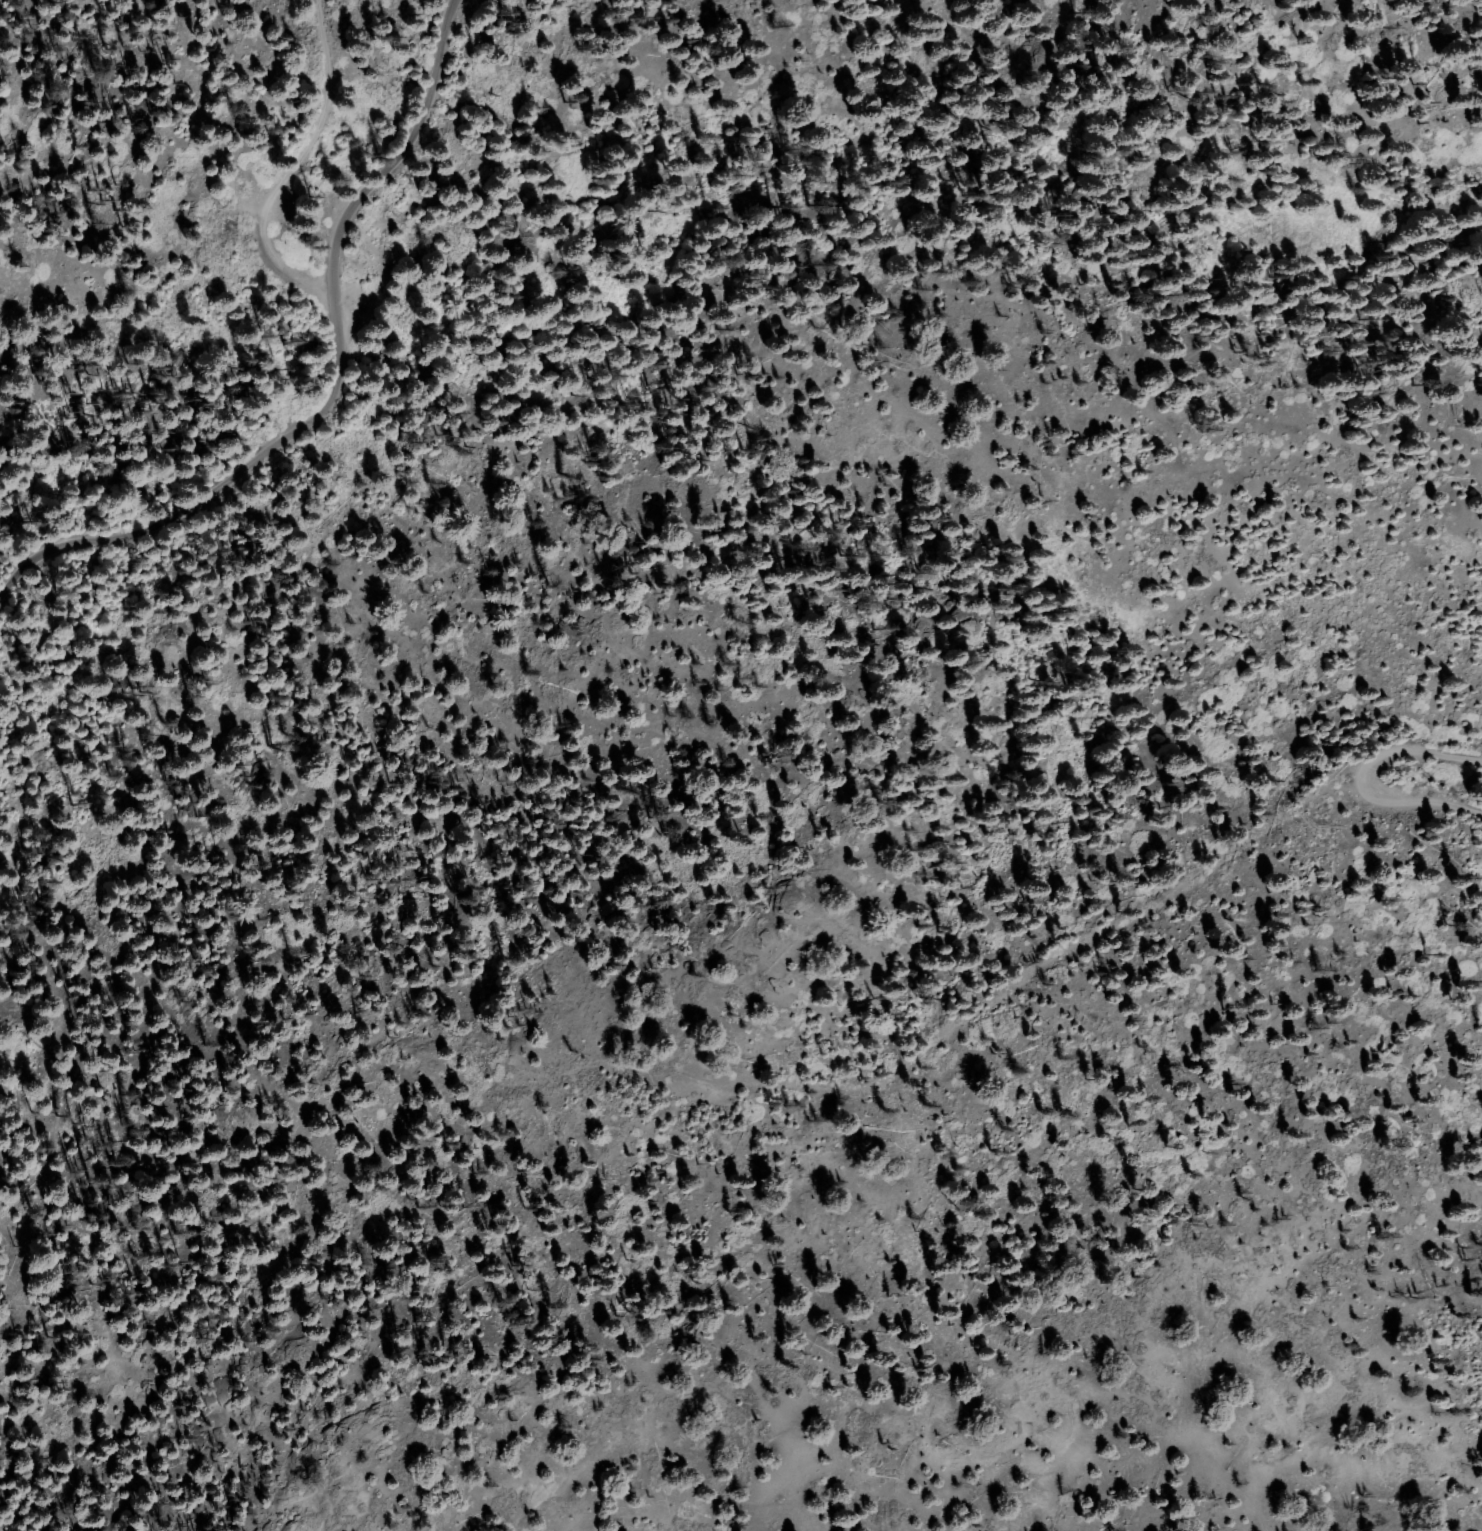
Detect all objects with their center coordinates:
road: (294, 165)
road: (334, 377)
road: (1367, 782)

